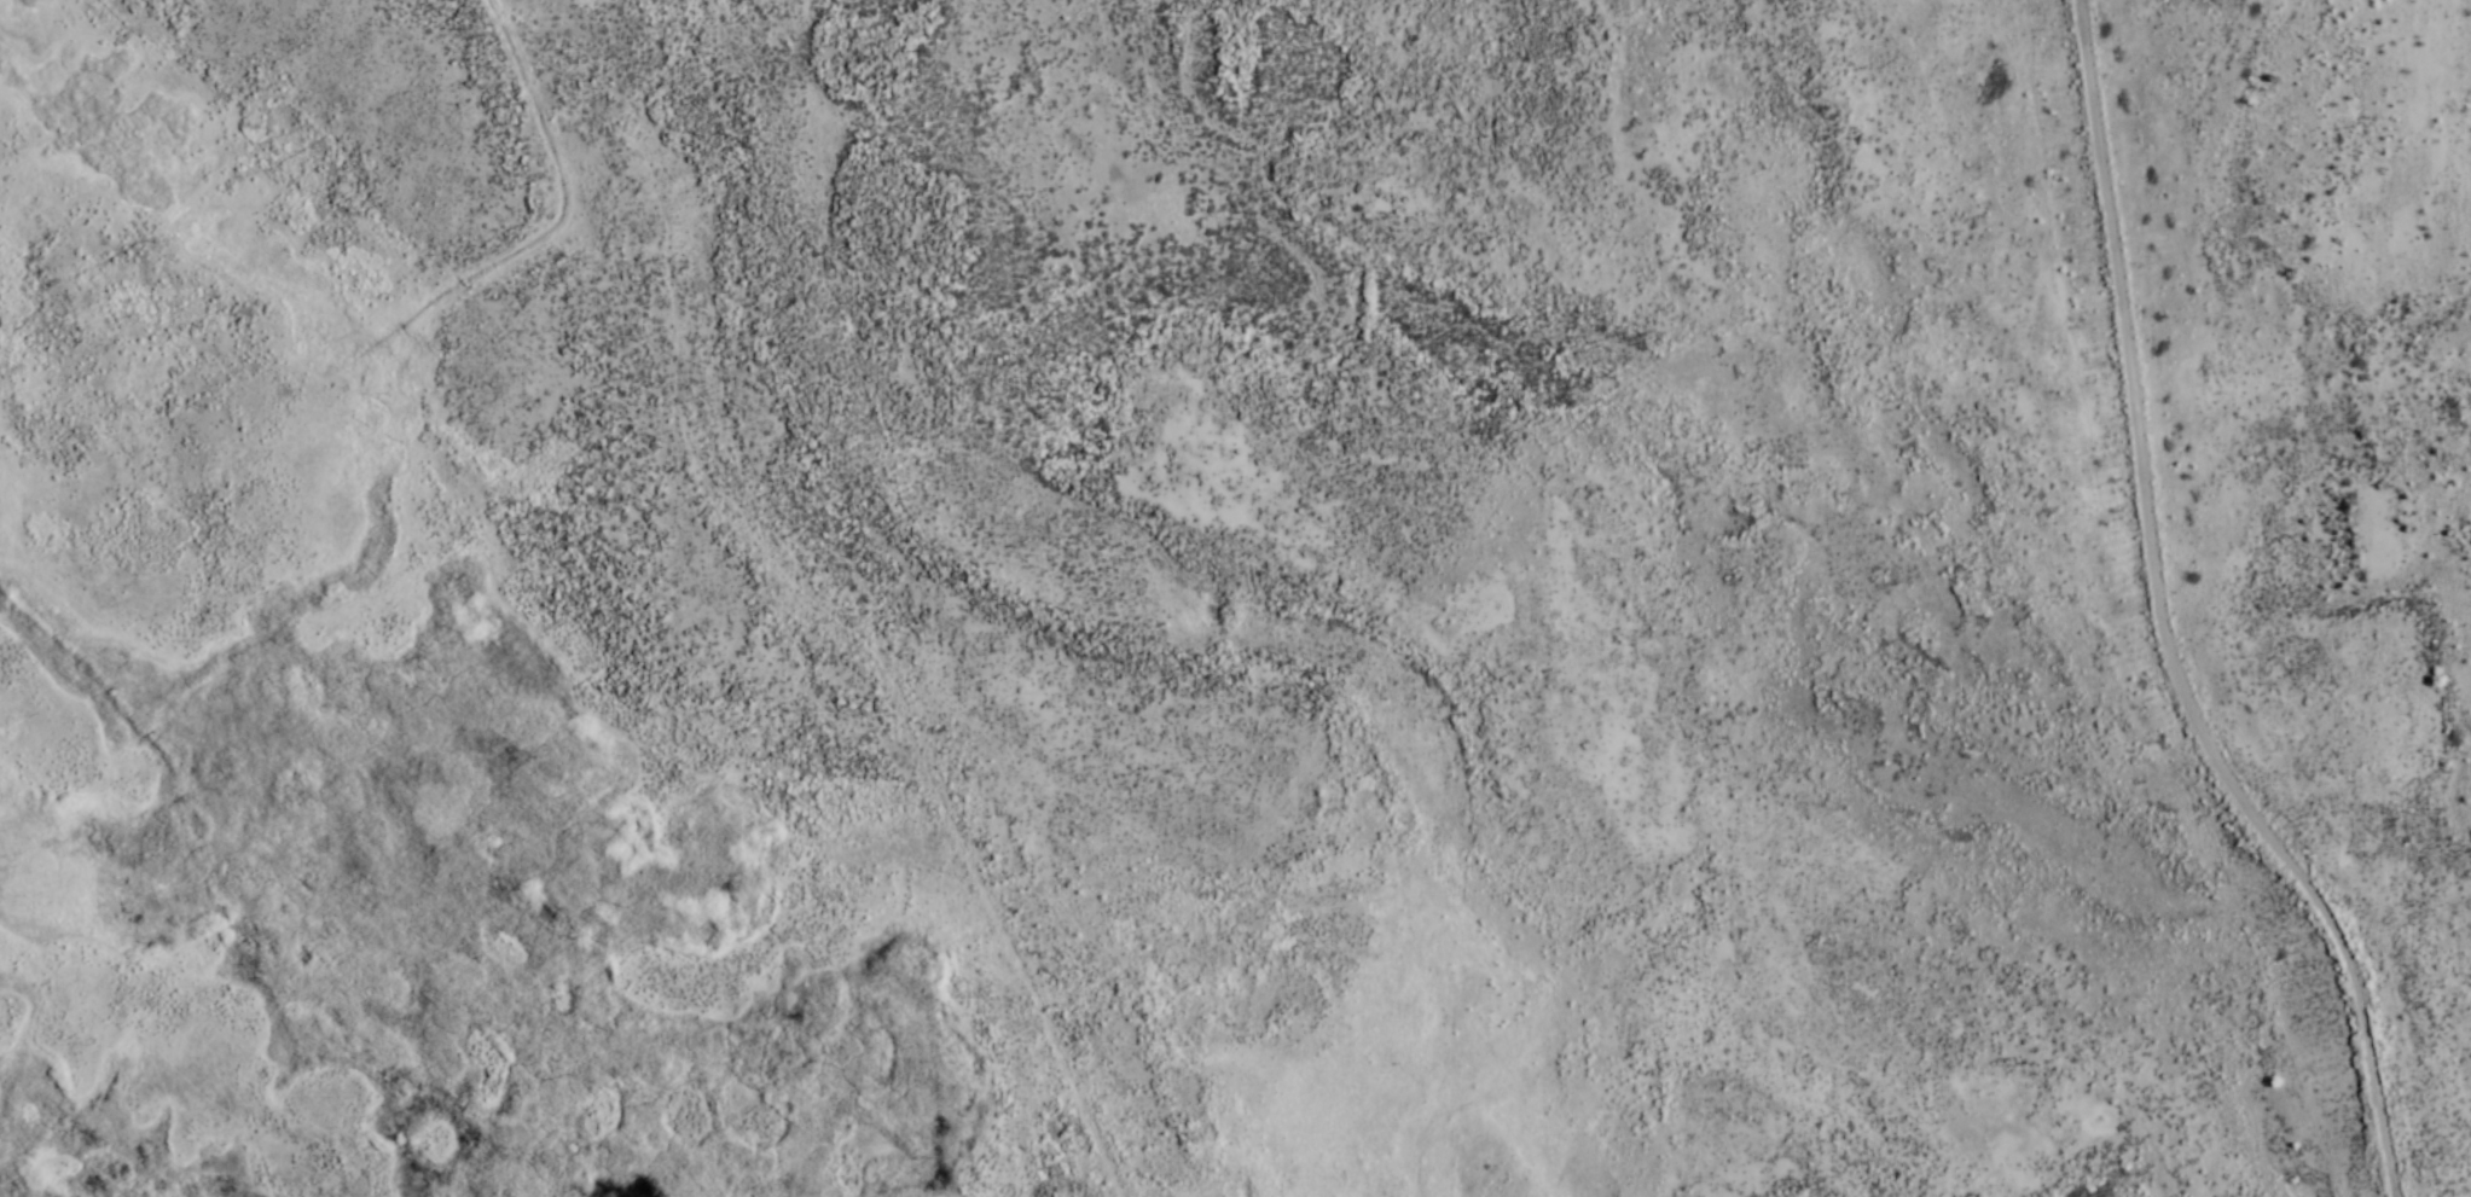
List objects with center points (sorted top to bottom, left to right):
road: (2142, 623)

